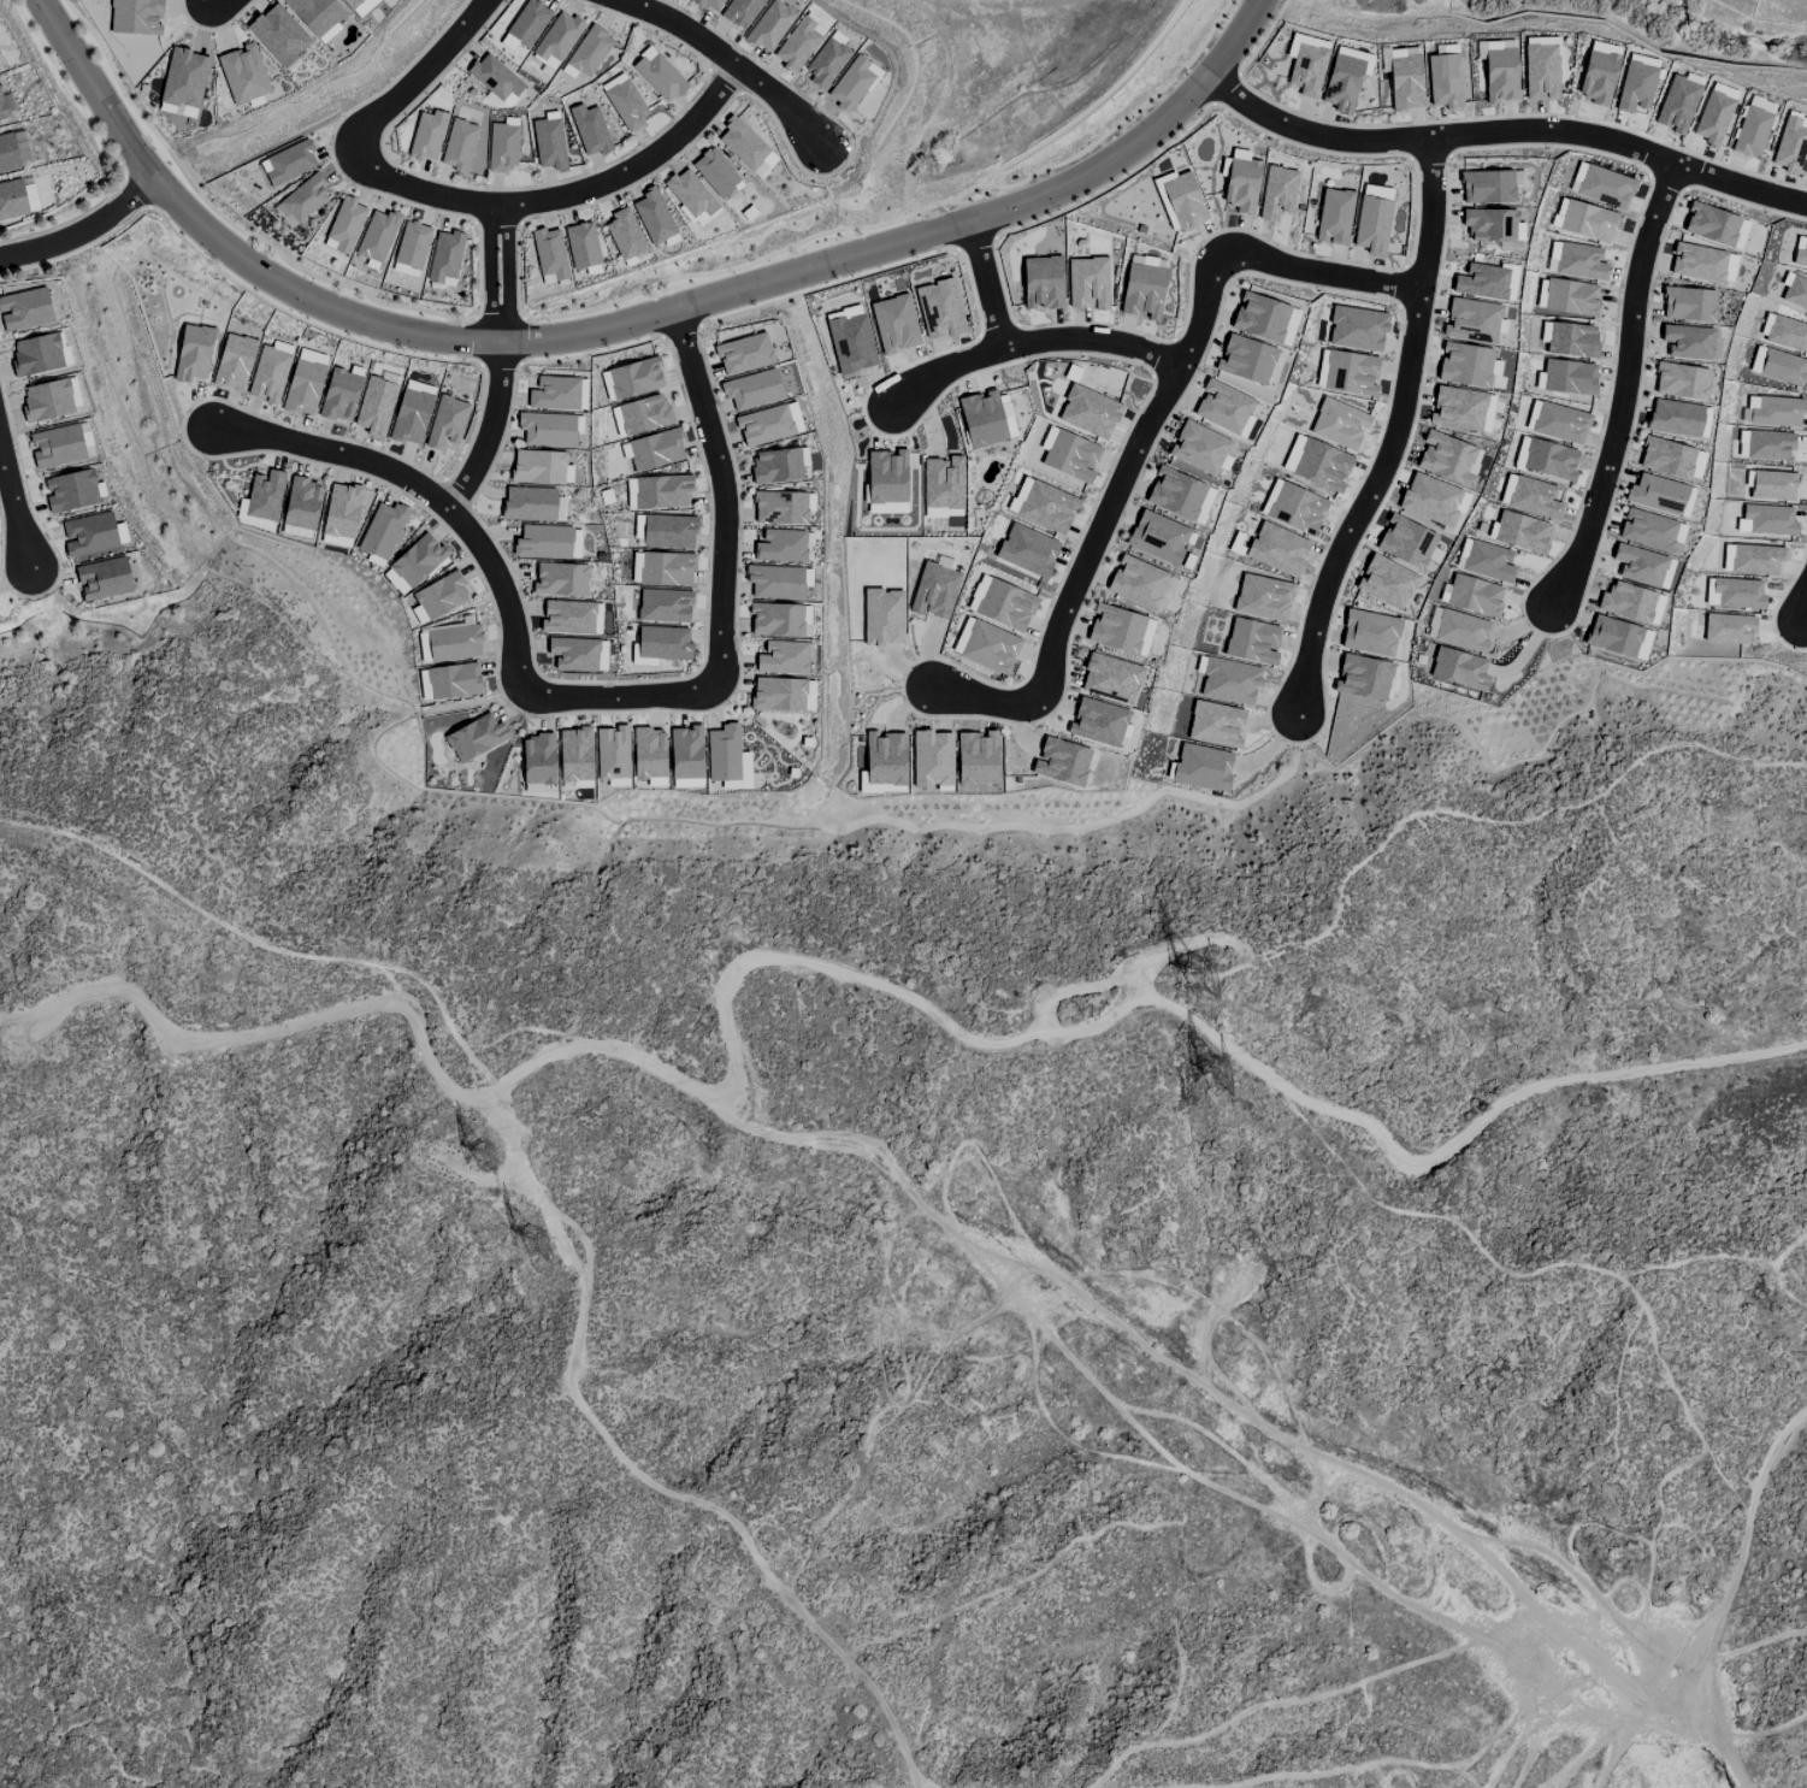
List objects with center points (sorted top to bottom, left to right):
building: (348, 2)
building: (709, 4)
building: (362, 6)
building: (739, 11)
building: (315, 13)
building: (136, 17)
building: (769, 26)
building: (278, 35)
building: (797, 42)
building: (550, 48)
building: (589, 51)
road: (728, 59)
building: (825, 63)
building: (1306, 69)
road: (426, 70)
building: (1499, 72)
building: (1539, 72)
building: (243, 73)
building: (1596, 77)
building: (1345, 78)
building: (495, 79)
building: (663, 79)
building: (1443, 81)
building: (1405, 82)
building: (183, 83)
building: (851, 84)
building: (1634, 87)
building: (624, 101)
building: (1759, 104)
building: (2, 110)
building: (1675, 111)
building: (1711, 118)
building: (589, 130)
road: (1504, 131)
building: (1749, 131)
building: (426, 135)
building: (548, 143)
building: (740, 143)
building: (1789, 144)
building: (459, 146)
building: (502, 147)
building: (7, 154)
building: (288, 163)
building: (764, 165)
building: (719, 177)
building: (1240, 183)
building: (1605, 187)
building: (1484, 188)
building: (1276, 193)
building: (689, 194)
road: (553, 197)
building: (12, 199)
building: (1180, 199)
building: (300, 201)
building: (1558, 213)
building: (652, 217)
building: (1334, 217)
building: (1585, 222)
building: (1486, 223)
building: (346, 224)
building: (1711, 224)
building: (1371, 225)
road: (82, 230)
building: (624, 234)
building: (373, 243)
building: (411, 246)
building: (581, 246)
building: (549, 254)
building: (444, 256)
building: (1575, 260)
building: (1697, 262)
road: (497, 273)
road: (1321, 277)
building: (1041, 282)
building: (1477, 282)
building: (1510, 282)
road: (987, 283)
building: (1087, 283)
building: (1141, 290)
building: (1795, 293)
building: (1570, 297)
building: (1688, 305)
building: (24, 309)
building: (939, 309)
building: (1259, 317)
road: (624, 321)
building: (893, 323)
building: (1470, 323)
building: (1289, 324)
building: (1357, 329)
building: (1569, 340)
road: (1032, 341)
building: (1687, 342)
building: (850, 343)
building: (193, 353)
building: (743, 353)
building: (36, 355)
building: (312, 356)
building: (1246, 360)
building: (234, 362)
building: (1778, 366)
building: (1460, 367)
building: (1350, 373)
building: (268, 374)
building: (1567, 377)
building: (634, 378)
building: (1681, 380)
road: (1625, 384)
building: (303, 389)
building: (751, 389)
building: (554, 393)
building: (338, 395)
building: (377, 397)
building: (47, 400)
building: (1222, 407)
building: (1457, 409)
building: (412, 412)
building: (1088, 412)
building: (1776, 412)
building: (1006, 415)
building: (643, 417)
building: (1673, 418)
building: (981, 419)
building: (445, 421)
building: (1559, 423)
building: (763, 425)
building: (1334, 427)
road: (489, 429)
building: (547, 430)
road: (1398, 432)
building: (1767, 444)
building: (57, 445)
building: (1198, 448)
building: (655, 449)
building: (1070, 456)
building: (1665, 458)
building: (1547, 459)
building: (1321, 465)
building: (537, 466)
building: (776, 466)
building: (1461, 478)
road: (1124, 480)
building: (886, 482)
building: (943, 485)
building: (1772, 485)
building: (71, 491)
building: (657, 491)
road: (429, 492)
building: (1174, 492)
building: (1655, 494)
building: (264, 495)
road: (724, 496)
building: (1531, 498)
building: (1413, 502)
building: (1685, 502)
road: (14, 503)
building: (301, 503)
building: (531, 504)
building: (1043, 504)
building: (779, 508)
building: (342, 511)
building: (1768, 520)
building: (637, 527)
building: (1647, 530)
building: (666, 532)
building: (1519, 532)
building: (88, 533)
building: (379, 533)
building: (1157, 537)
building: (543, 542)
building: (1405, 542)
building: (574, 543)
building: (780, 545)
building: (1277, 549)
building: (1027, 550)
building: (1726, 557)
building: (417, 560)
building: (1755, 560)
building: (1487, 561)
building: (1638, 565)
building: (663, 568)
building: (104, 578)
building: (561, 579)
building: (394, 582)
building: (774, 582)
building: (1135, 582)
building: (1384, 582)
building: (928, 583)
building: (1474, 596)
building: (1262, 597)
building: (1738, 598)
building: (427, 601)
building: (1628, 602)
building: (663, 606)
building: (1014, 616)
building: (567, 618)
building: (882, 618)
road: (1806, 619)
building: (775, 620)
building: (1726, 629)
building: (1461, 631)
building: (1369, 632)
building: (1144, 637)
building: (1618, 637)
building: (1123, 642)
building: (1252, 642)
building: (453, 643)
building: (662, 643)
building: (573, 654)
building: (988, 655)
building: (781, 657)
building: (1459, 668)
building: (1110, 678)
building: (1363, 678)
building: (449, 681)
building: (1229, 681)
building: (778, 694)
road: (619, 697)
road: (982, 698)
building: (1097, 722)
building: (1215, 724)
building: (461, 743)
building: (648, 753)
building: (685, 753)
building: (612, 754)
building: (722, 754)
building: (574, 755)
building: (537, 759)
building: (884, 759)
building: (976, 759)
building: (1061, 762)
building: (934, 765)
building: (1201, 767)
power tower: (1215, 984)
power tower: (1210, 1069)
power tower: (485, 1155)
road: (563, 1233)
power tower: (533, 1245)

